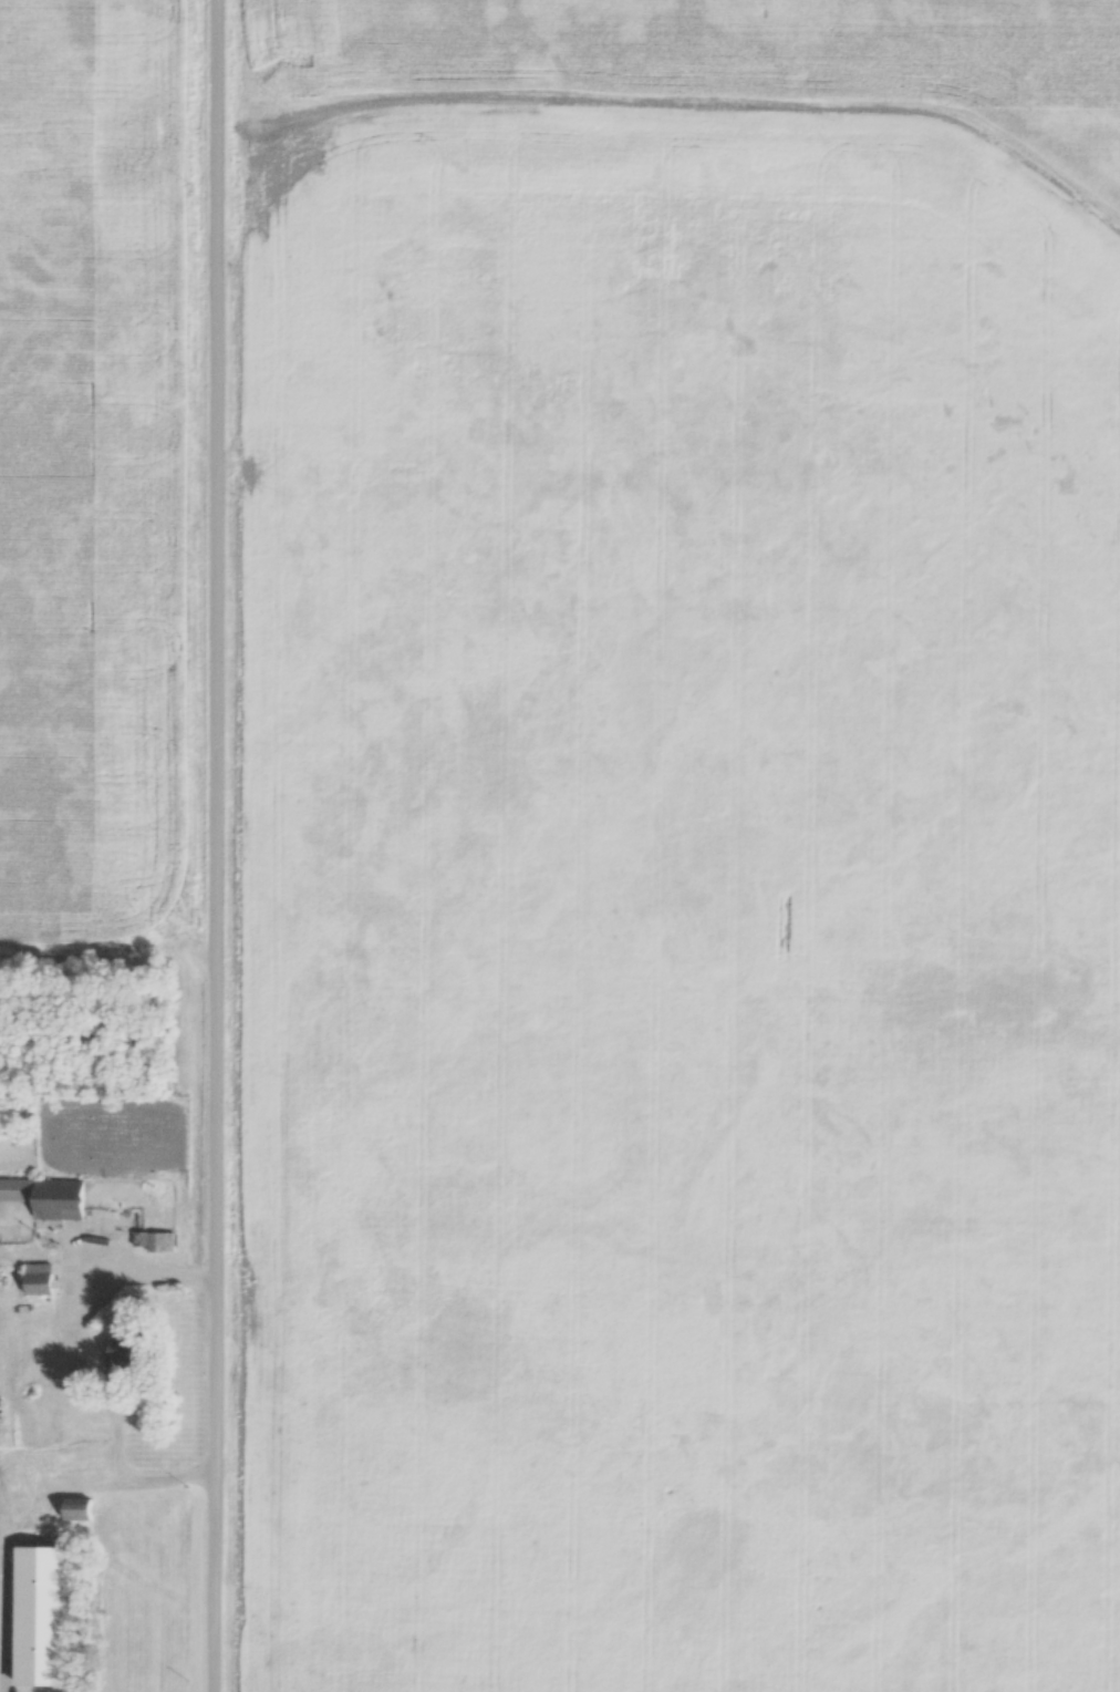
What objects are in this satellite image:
road: (212, 845)
building: (46, 1198)
building: (153, 1244)
building: (38, 1281)
building: (123, 1353)
road: (117, 1461)
building: (76, 1510)

